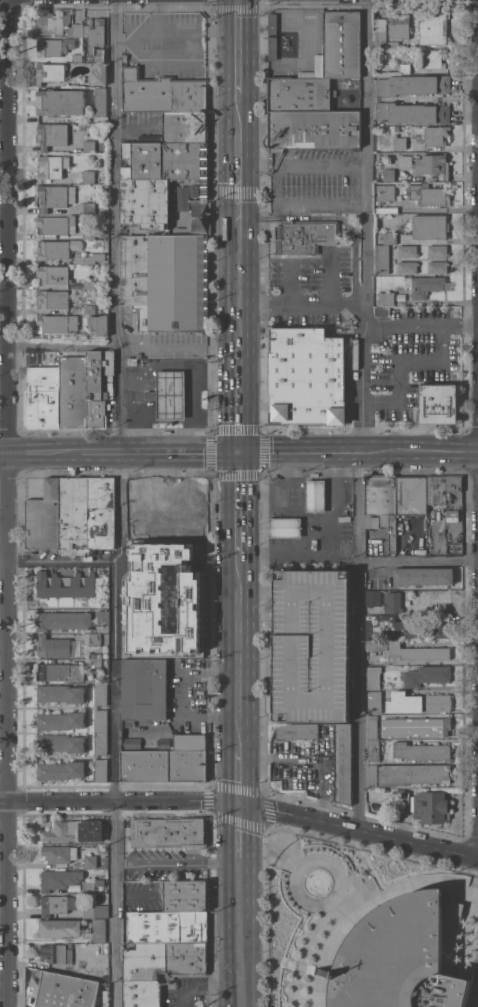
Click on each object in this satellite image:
building: (58, 25)
building: (399, 26)
building: (434, 27)
building: (380, 32)
building: (273, 36)
building: (97, 38)
building: (393, 44)
road: (238, 46)
building: (52, 47)
building: (339, 47)
building: (125, 56)
building: (78, 57)
building: (436, 58)
building: (405, 68)
building: (50, 72)
building: (99, 74)
building: (412, 84)
building: (163, 92)
building: (299, 94)
building: (100, 101)
building: (61, 102)
building: (413, 112)
building: (186, 126)
building: (313, 129)
building: (51, 135)
building: (436, 135)
building: (400, 142)
building: (89, 145)
building: (165, 160)
road: (257, 165)
road: (276, 165)
road: (322, 165)
building: (432, 165)
building: (50, 167)
building: (389, 174)
building: (85, 176)
traffic signals: (239, 190)
building: (385, 193)
building: (186, 195)
building: (429, 195)
building: (56, 196)
building: (89, 208)
building: (387, 209)
road: (239, 224)
building: (57, 225)
building: (430, 226)
building: (89, 234)
building: (305, 237)
building: (390, 238)
building: (57, 249)
building: (407, 251)
building: (437, 251)
building: (90, 258)
building: (382, 258)
building: (165, 259)
building: (407, 266)
building: (438, 266)
building: (53, 274)
road: (329, 280)
building: (91, 284)
road: (289, 285)
building: (425, 285)
building: (386, 297)
building: (52, 298)
road: (303, 304)
building: (89, 309)
building: (56, 323)
building: (99, 325)
road: (420, 326)
road: (59, 343)
road: (178, 350)
building: (139, 355)
building: (133, 362)
road: (399, 364)
road: (159, 369)
building: (306, 376)
building: (43, 389)
building: (96, 390)
building: (73, 391)
building: (170, 394)
road: (194, 395)
building: (439, 403)
road: (240, 404)
road: (361, 415)
road: (197, 419)
road: (169, 420)
road: (37, 450)
road: (157, 450)
road: (420, 451)
traffic signals: (240, 452)
road: (301, 452)
road: (282, 487)
building: (441, 488)
building: (315, 495)
building: (411, 495)
road: (240, 502)
road: (10, 503)
road: (120, 503)
building: (382, 505)
building: (176, 507)
building: (452, 513)
building: (101, 514)
building: (74, 515)
road: (299, 515)
building: (44, 517)
building: (285, 527)
building: (176, 531)
road: (328, 541)
building: (198, 554)
road: (60, 560)
road: (419, 561)
building: (424, 575)
building: (164, 583)
building: (65, 585)
building: (374, 598)
building: (393, 602)
building: (63, 620)
building: (103, 620)
building: (405, 628)
building: (95, 639)
building: (165, 642)
building: (312, 645)
parking lot: (312, 645)
building: (377, 645)
building: (57, 646)
road: (241, 650)
building: (417, 651)
building: (94, 655)
building: (68, 671)
building: (427, 675)
building: (373, 677)
building: (144, 688)
building: (61, 693)
building: (100, 694)
building: (375, 701)
building: (418, 702)
building: (61, 720)
building: (101, 720)
building: (371, 726)
building: (416, 726)
building: (297, 731)
building: (343, 731)
building: (191, 741)
building: (61, 742)
building: (101, 743)
building: (373, 749)
building: (421, 751)
road: (310, 760)
building: (165, 765)
building: (61, 770)
building: (101, 770)
building: (343, 771)
building: (413, 774)
road: (242, 776)
building: (372, 776)
building: (403, 797)
road: (121, 801)
traffic signals: (243, 805)
building: (430, 806)
building: (75, 830)
building: (170, 832)
road: (242, 832)
road: (360, 832)
building: (60, 853)
building: (91, 861)
road: (178, 862)
building: (60, 879)
building: (100, 882)
building: (88, 887)
building: (184, 894)
road: (135, 895)
building: (57, 904)
building: (96, 911)
building: (166, 926)
road: (241, 926)
building: (61, 928)
building: (99, 930)
building: (56, 953)
building: (400, 957)
building: (158, 968)
road: (203, 986)
building: (64, 990)
parking lot: (474, 991)
road: (240, 1000)

